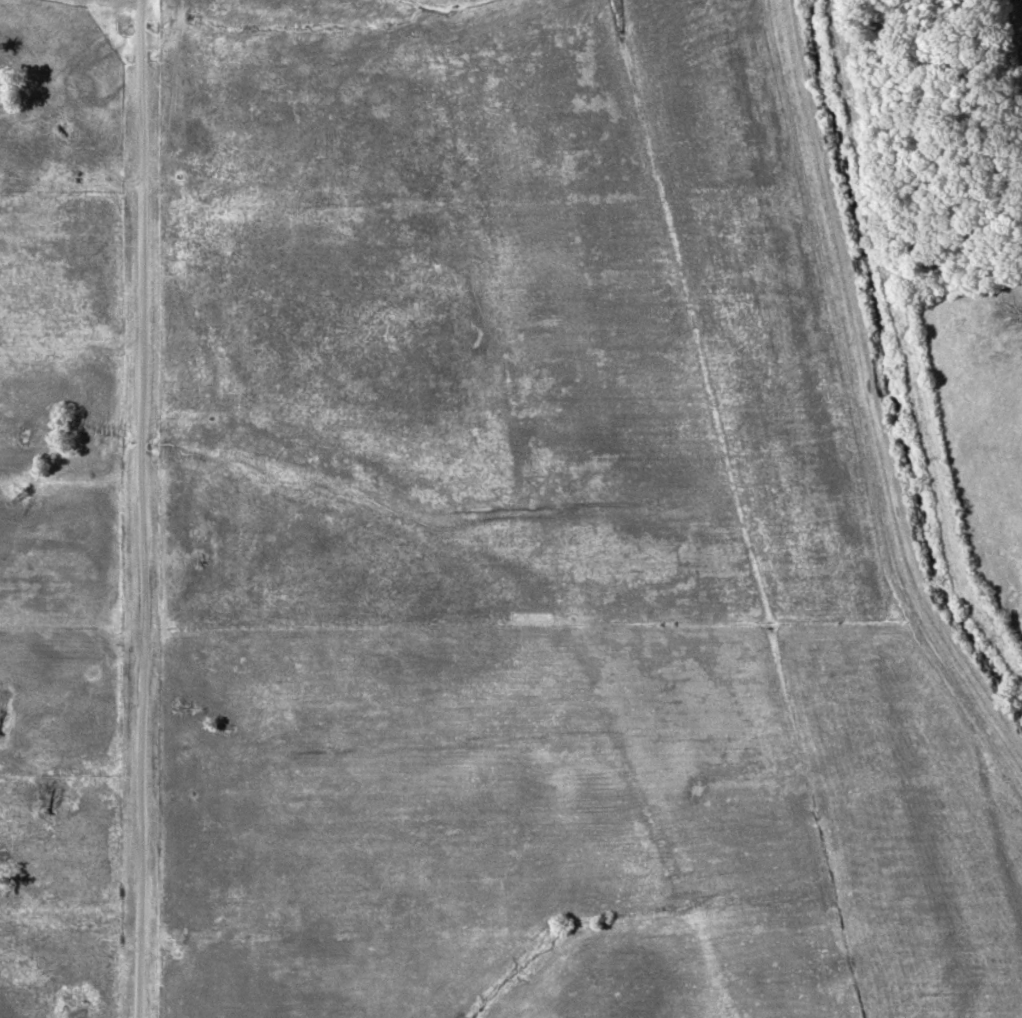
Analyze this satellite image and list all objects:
road: (870, 388)
road: (152, 509)

